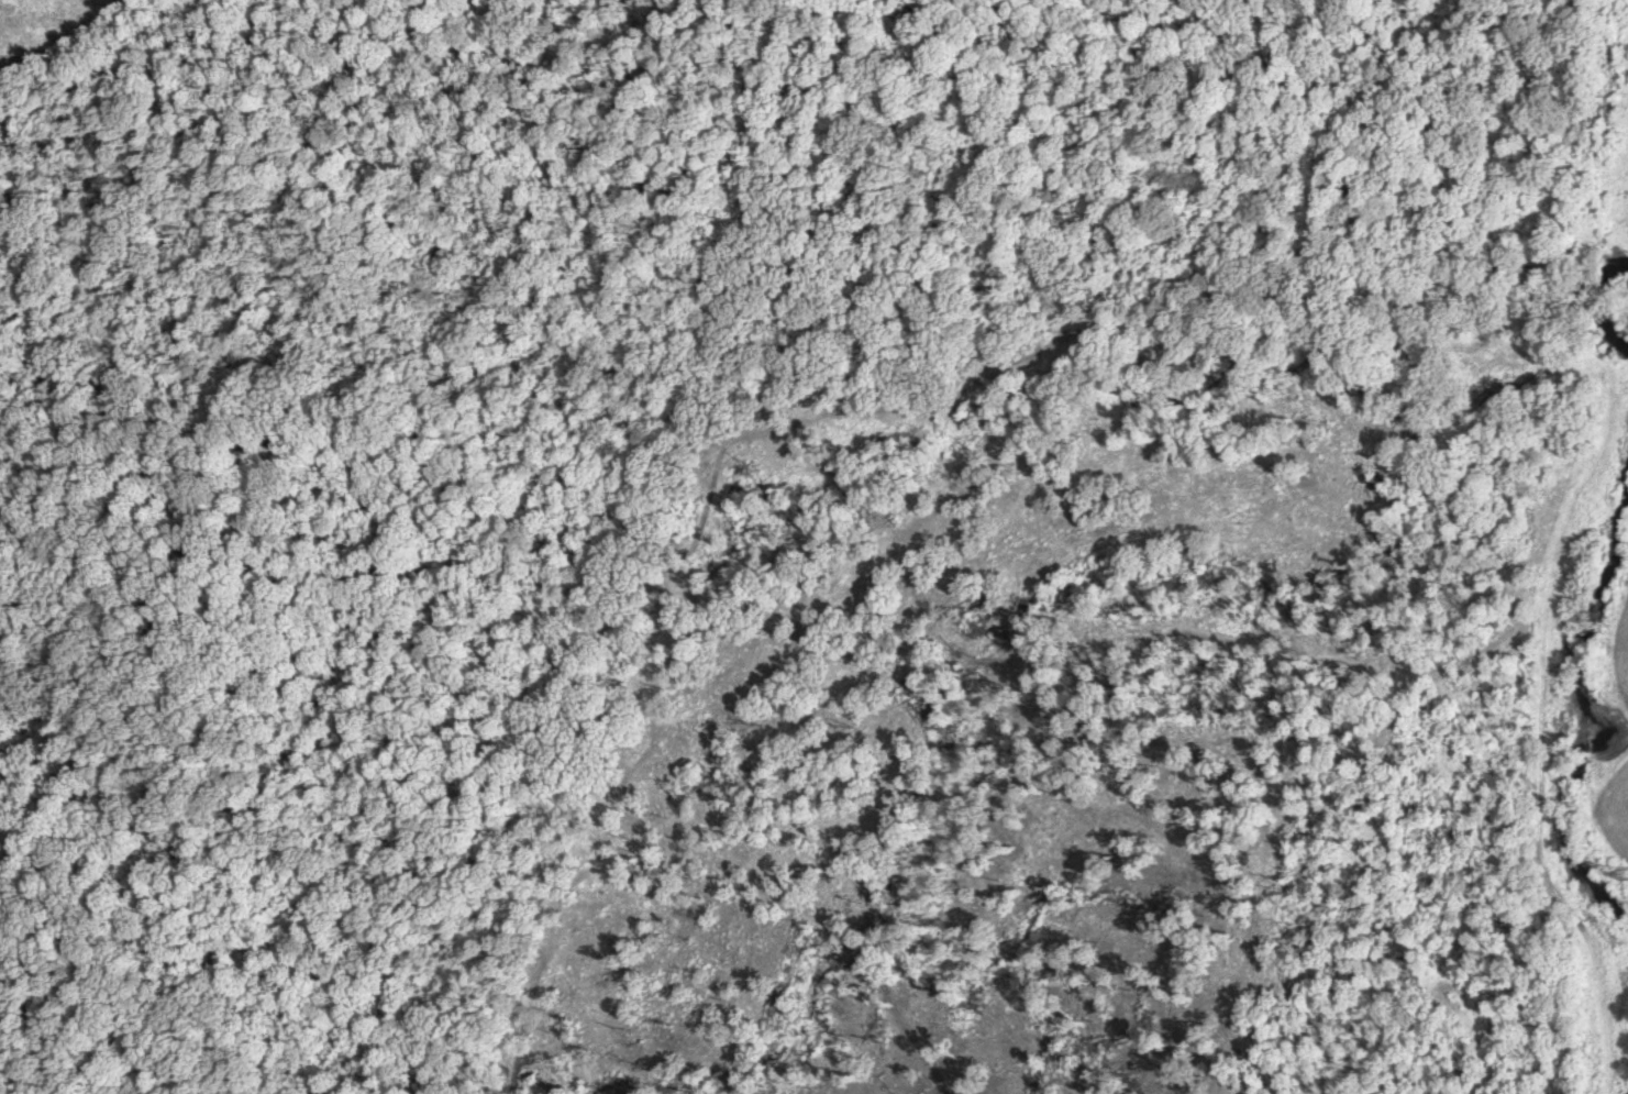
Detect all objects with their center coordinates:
power tower: (1625, 874)

